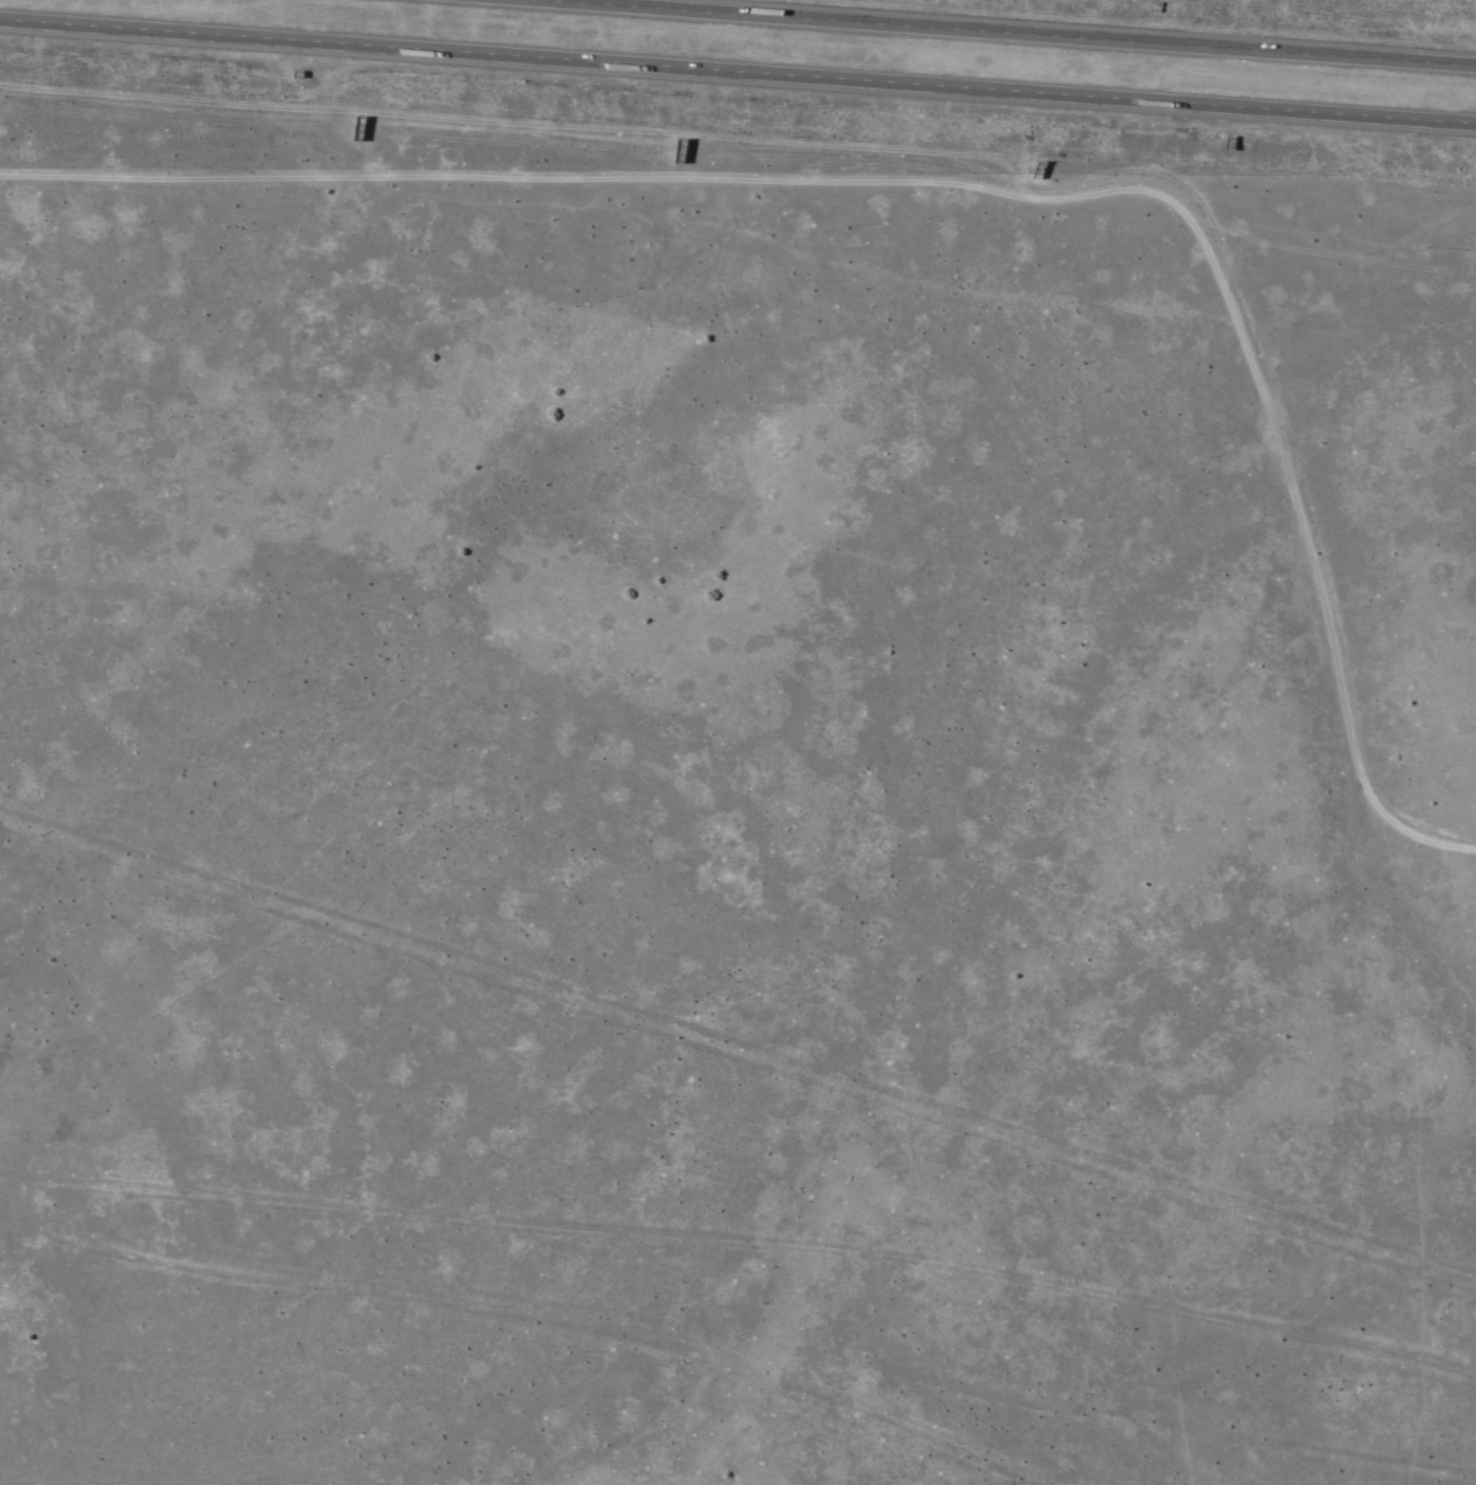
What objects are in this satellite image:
road: (992, 34)
road: (738, 73)
road: (941, 188)
road: (1451, 846)

